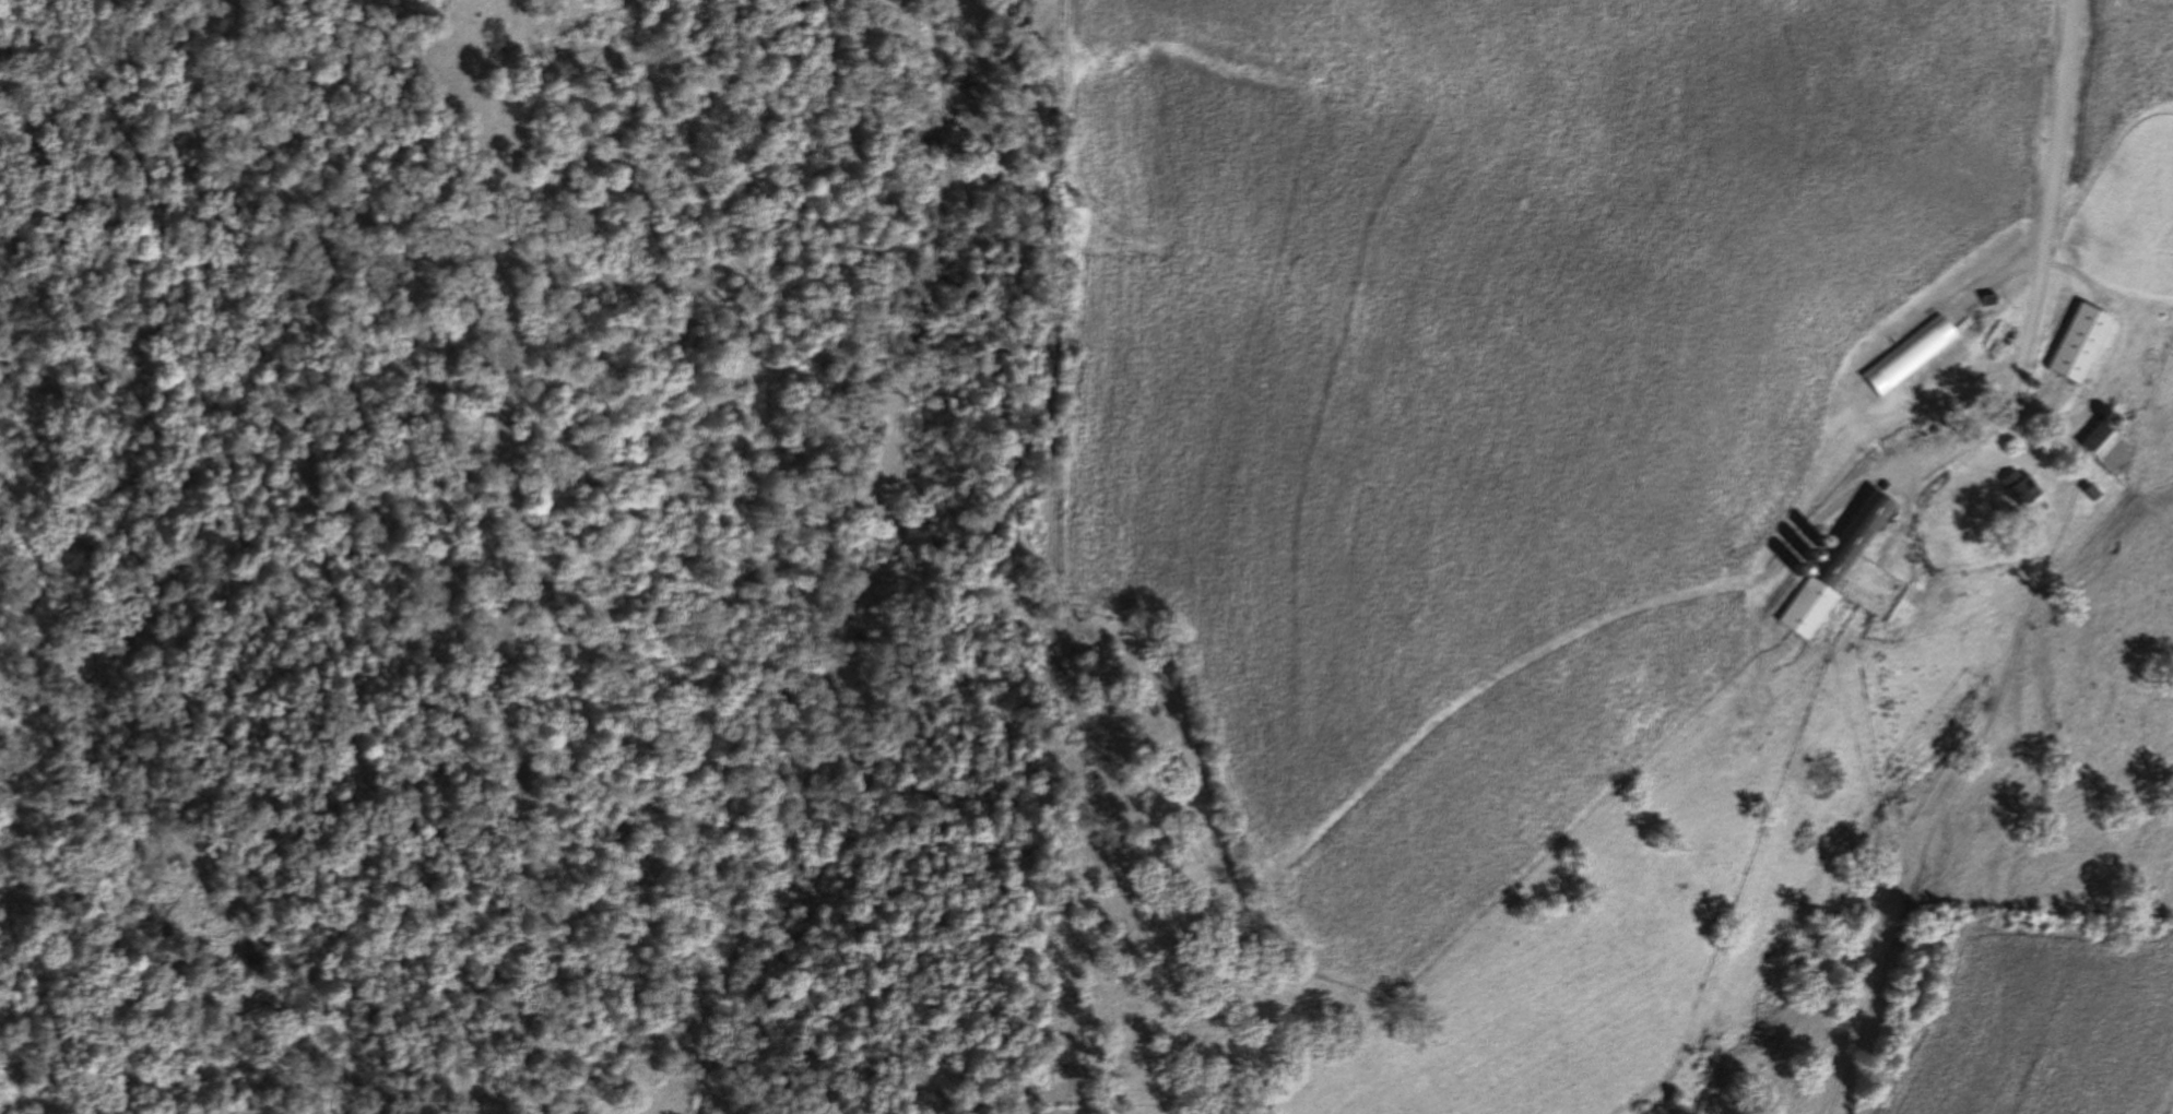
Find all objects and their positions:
road: (2067, 186)
building: (2081, 344)
building: (1911, 356)
building: (2106, 449)
building: (2021, 489)
building: (1837, 567)

